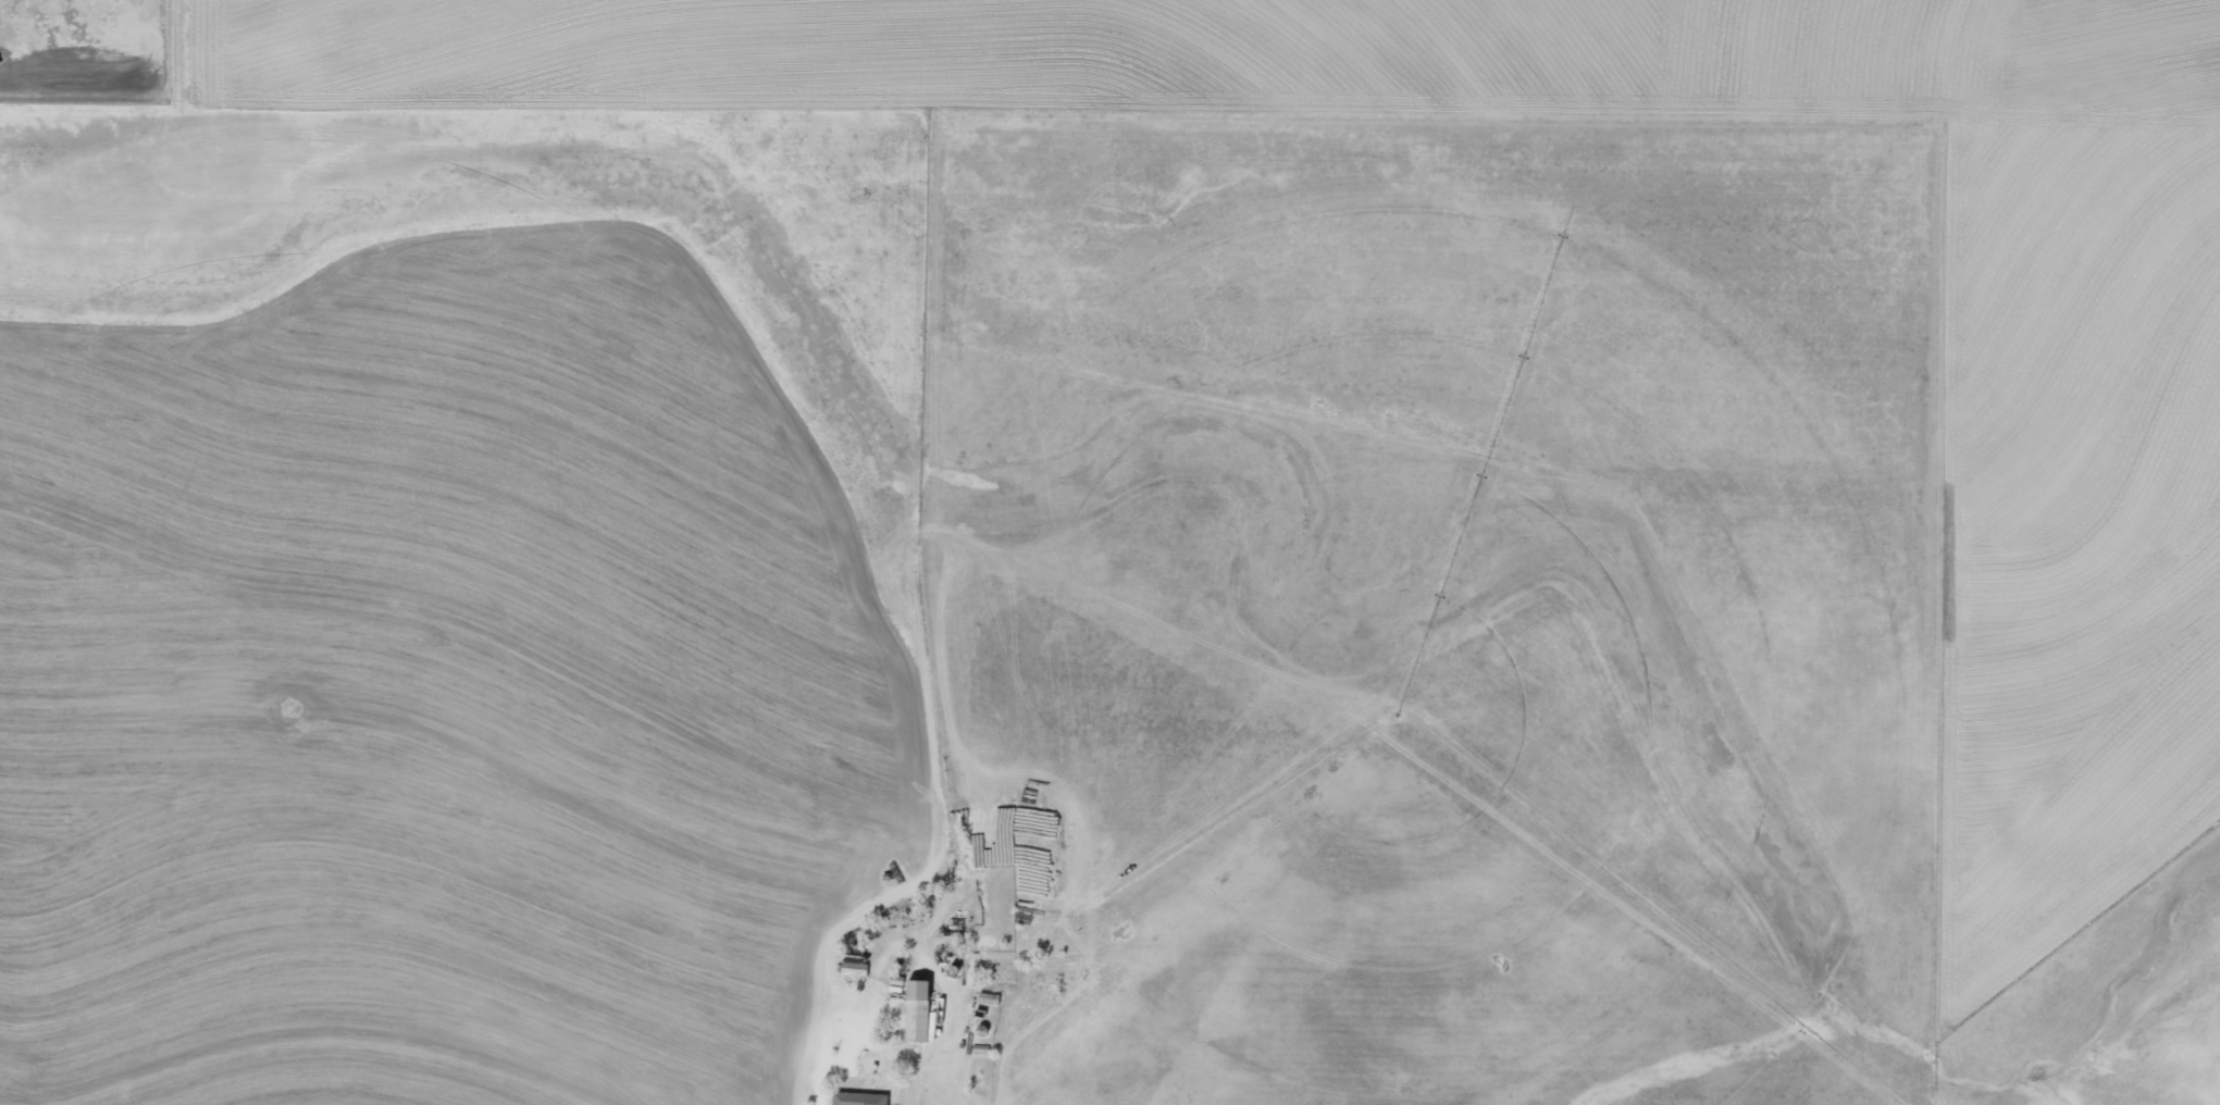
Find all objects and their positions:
building: (919, 1009)
building: (861, 1098)

